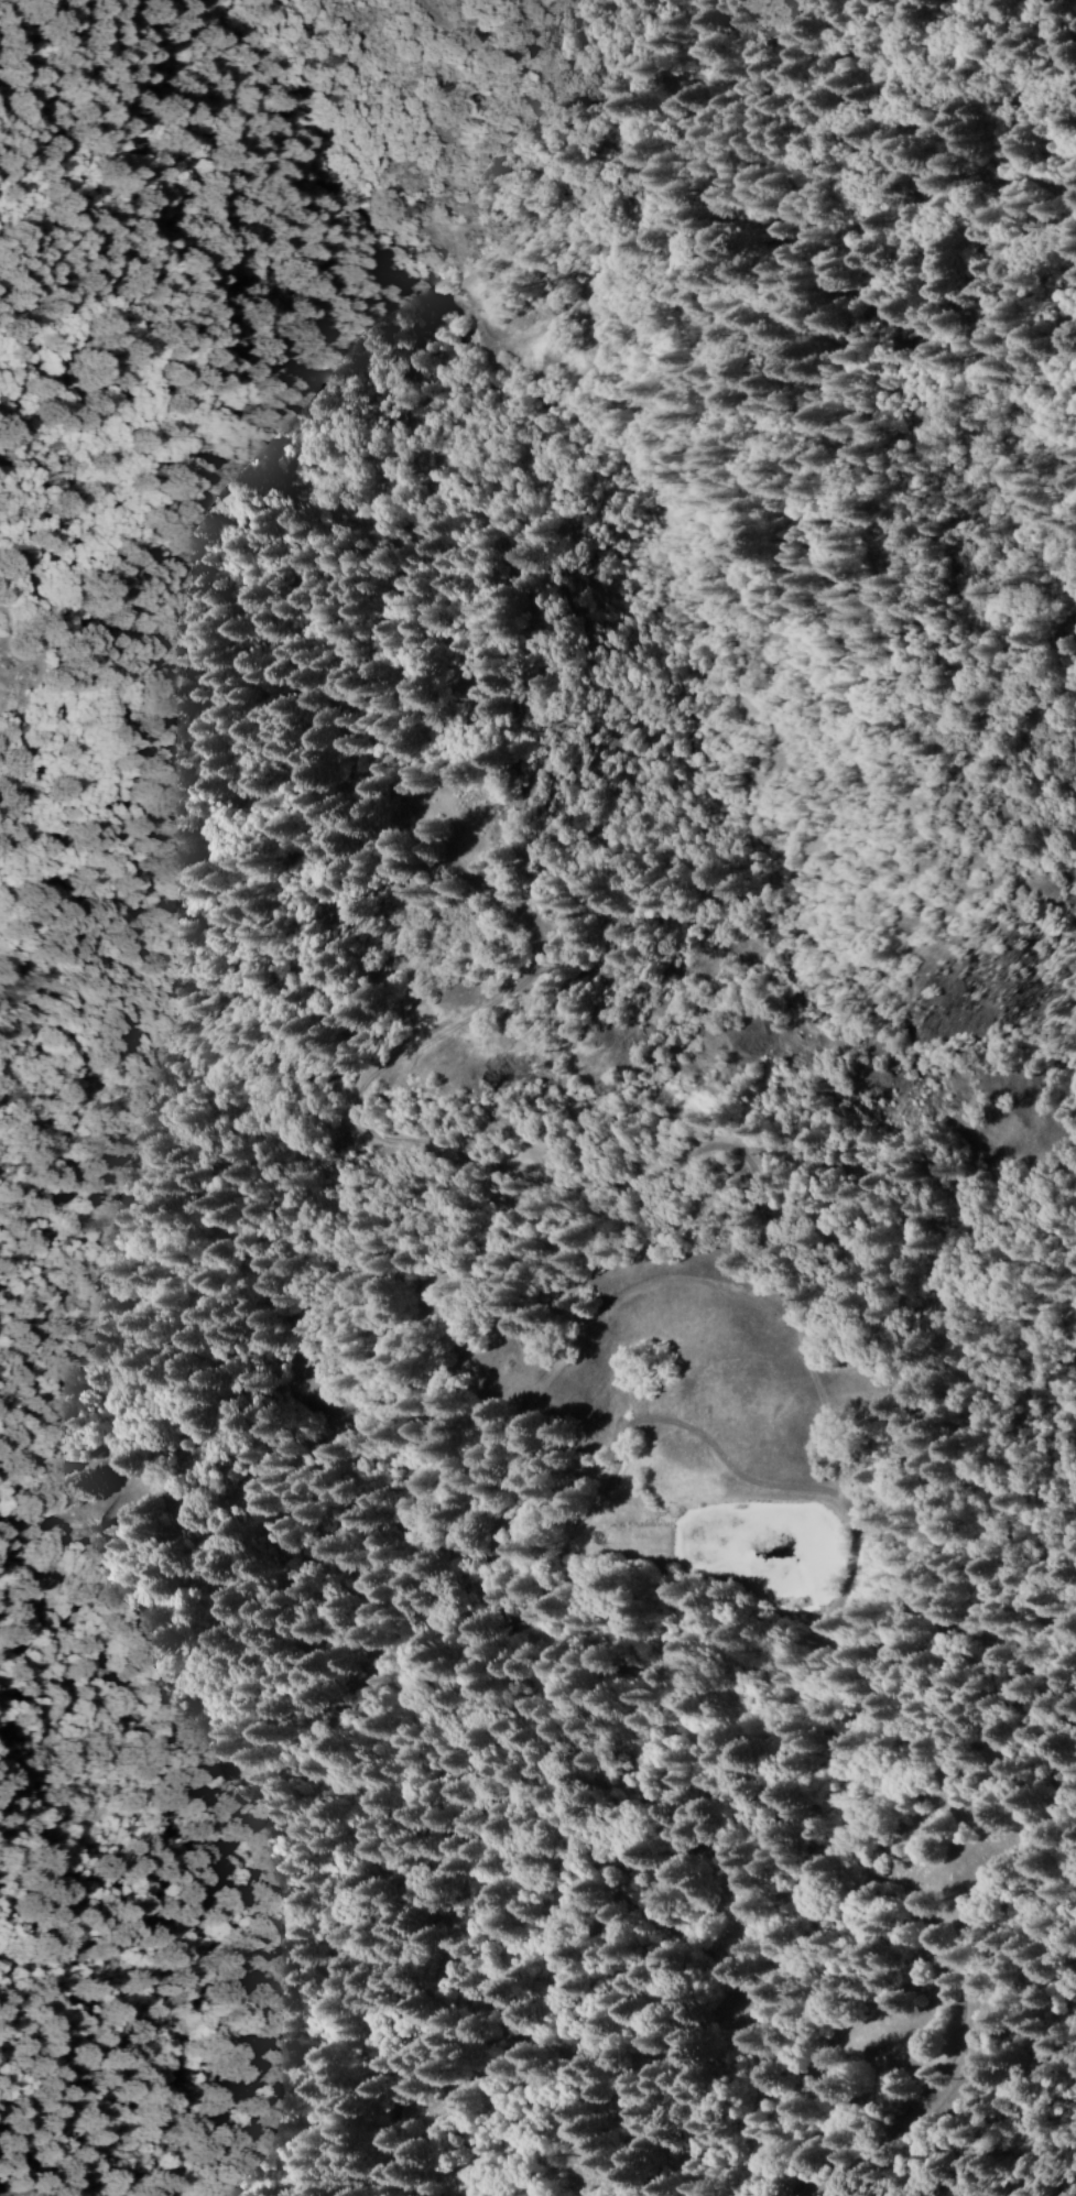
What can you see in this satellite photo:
road: (729, 199)
road: (808, 1335)
road: (469, 1829)
road: (909, 2121)

